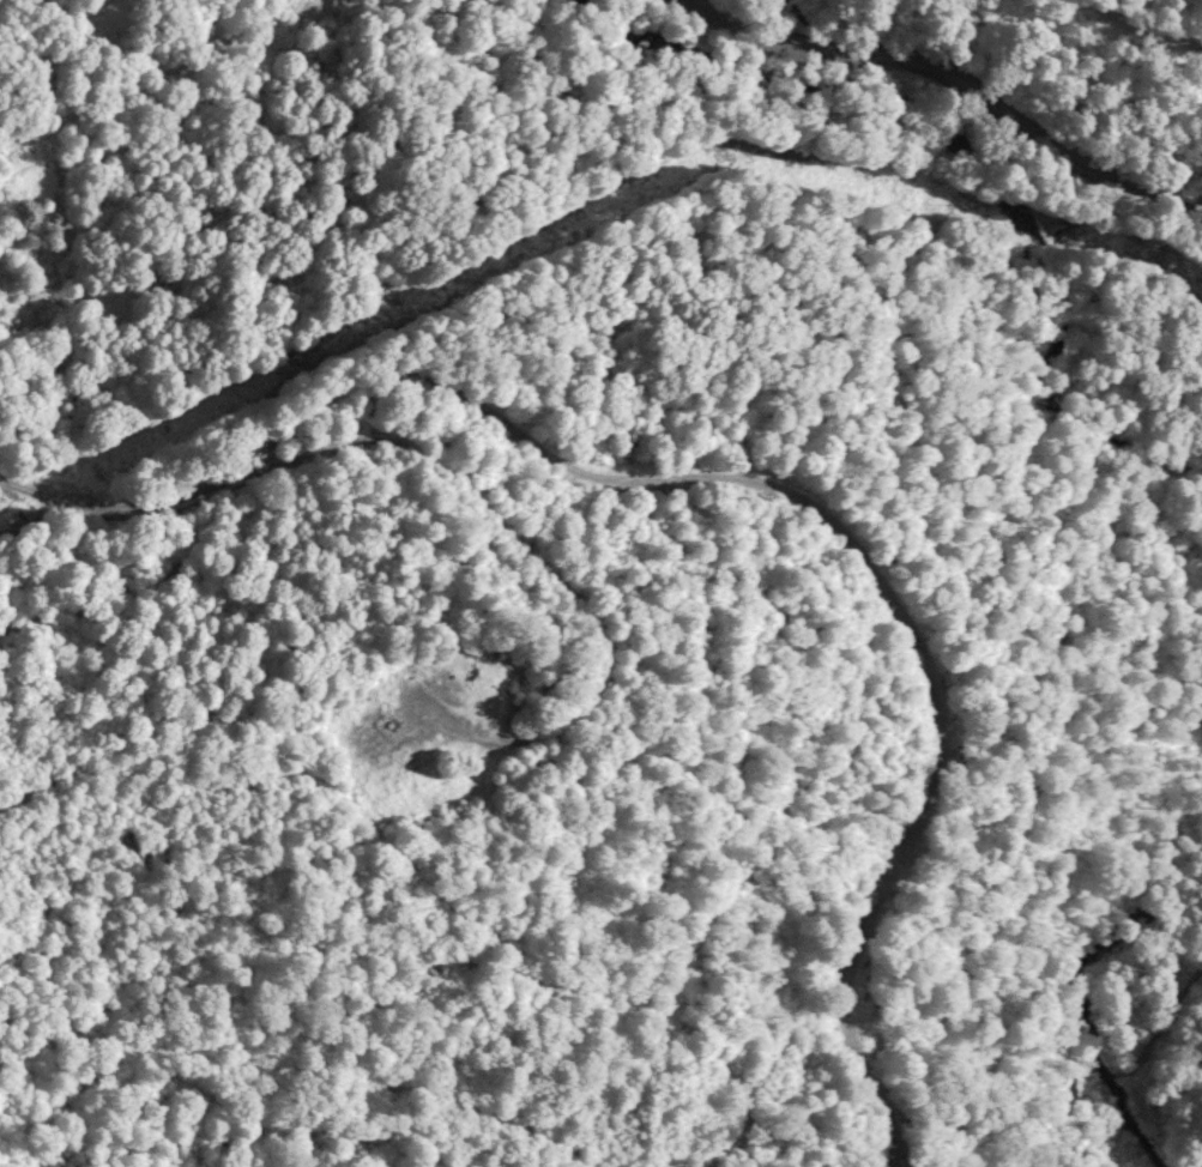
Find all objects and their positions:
road: (962, 78)
railway: (835, 526)

